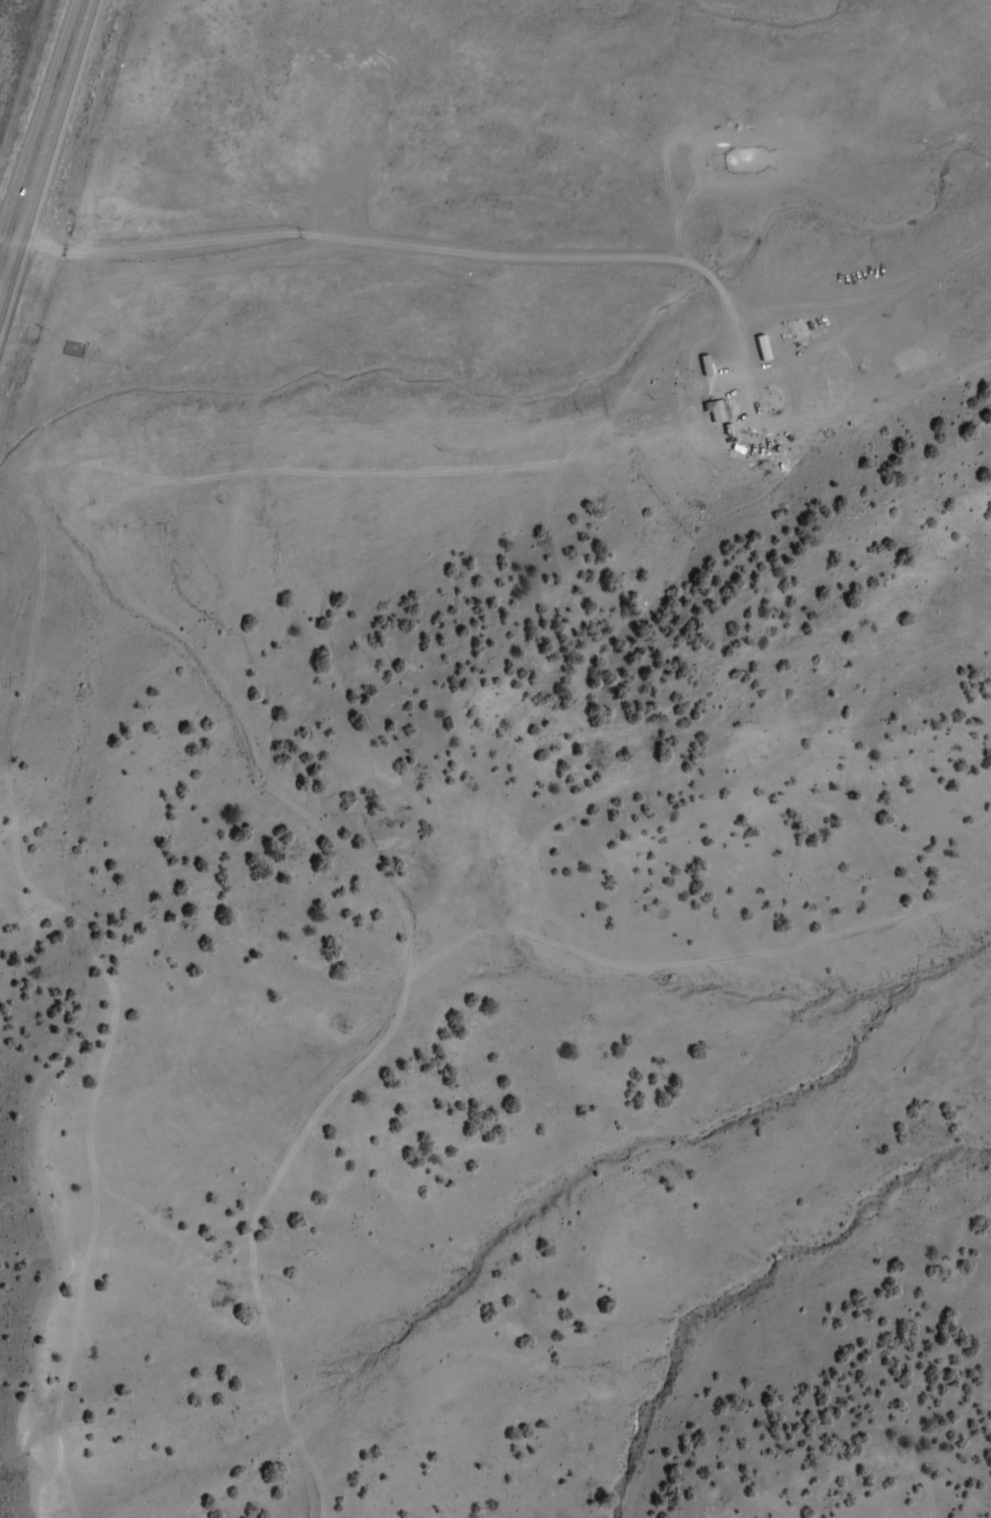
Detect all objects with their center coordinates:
road: (42, 139)
road: (416, 241)
road: (4, 246)
building: (721, 410)
road: (422, 471)
road: (277, 789)

